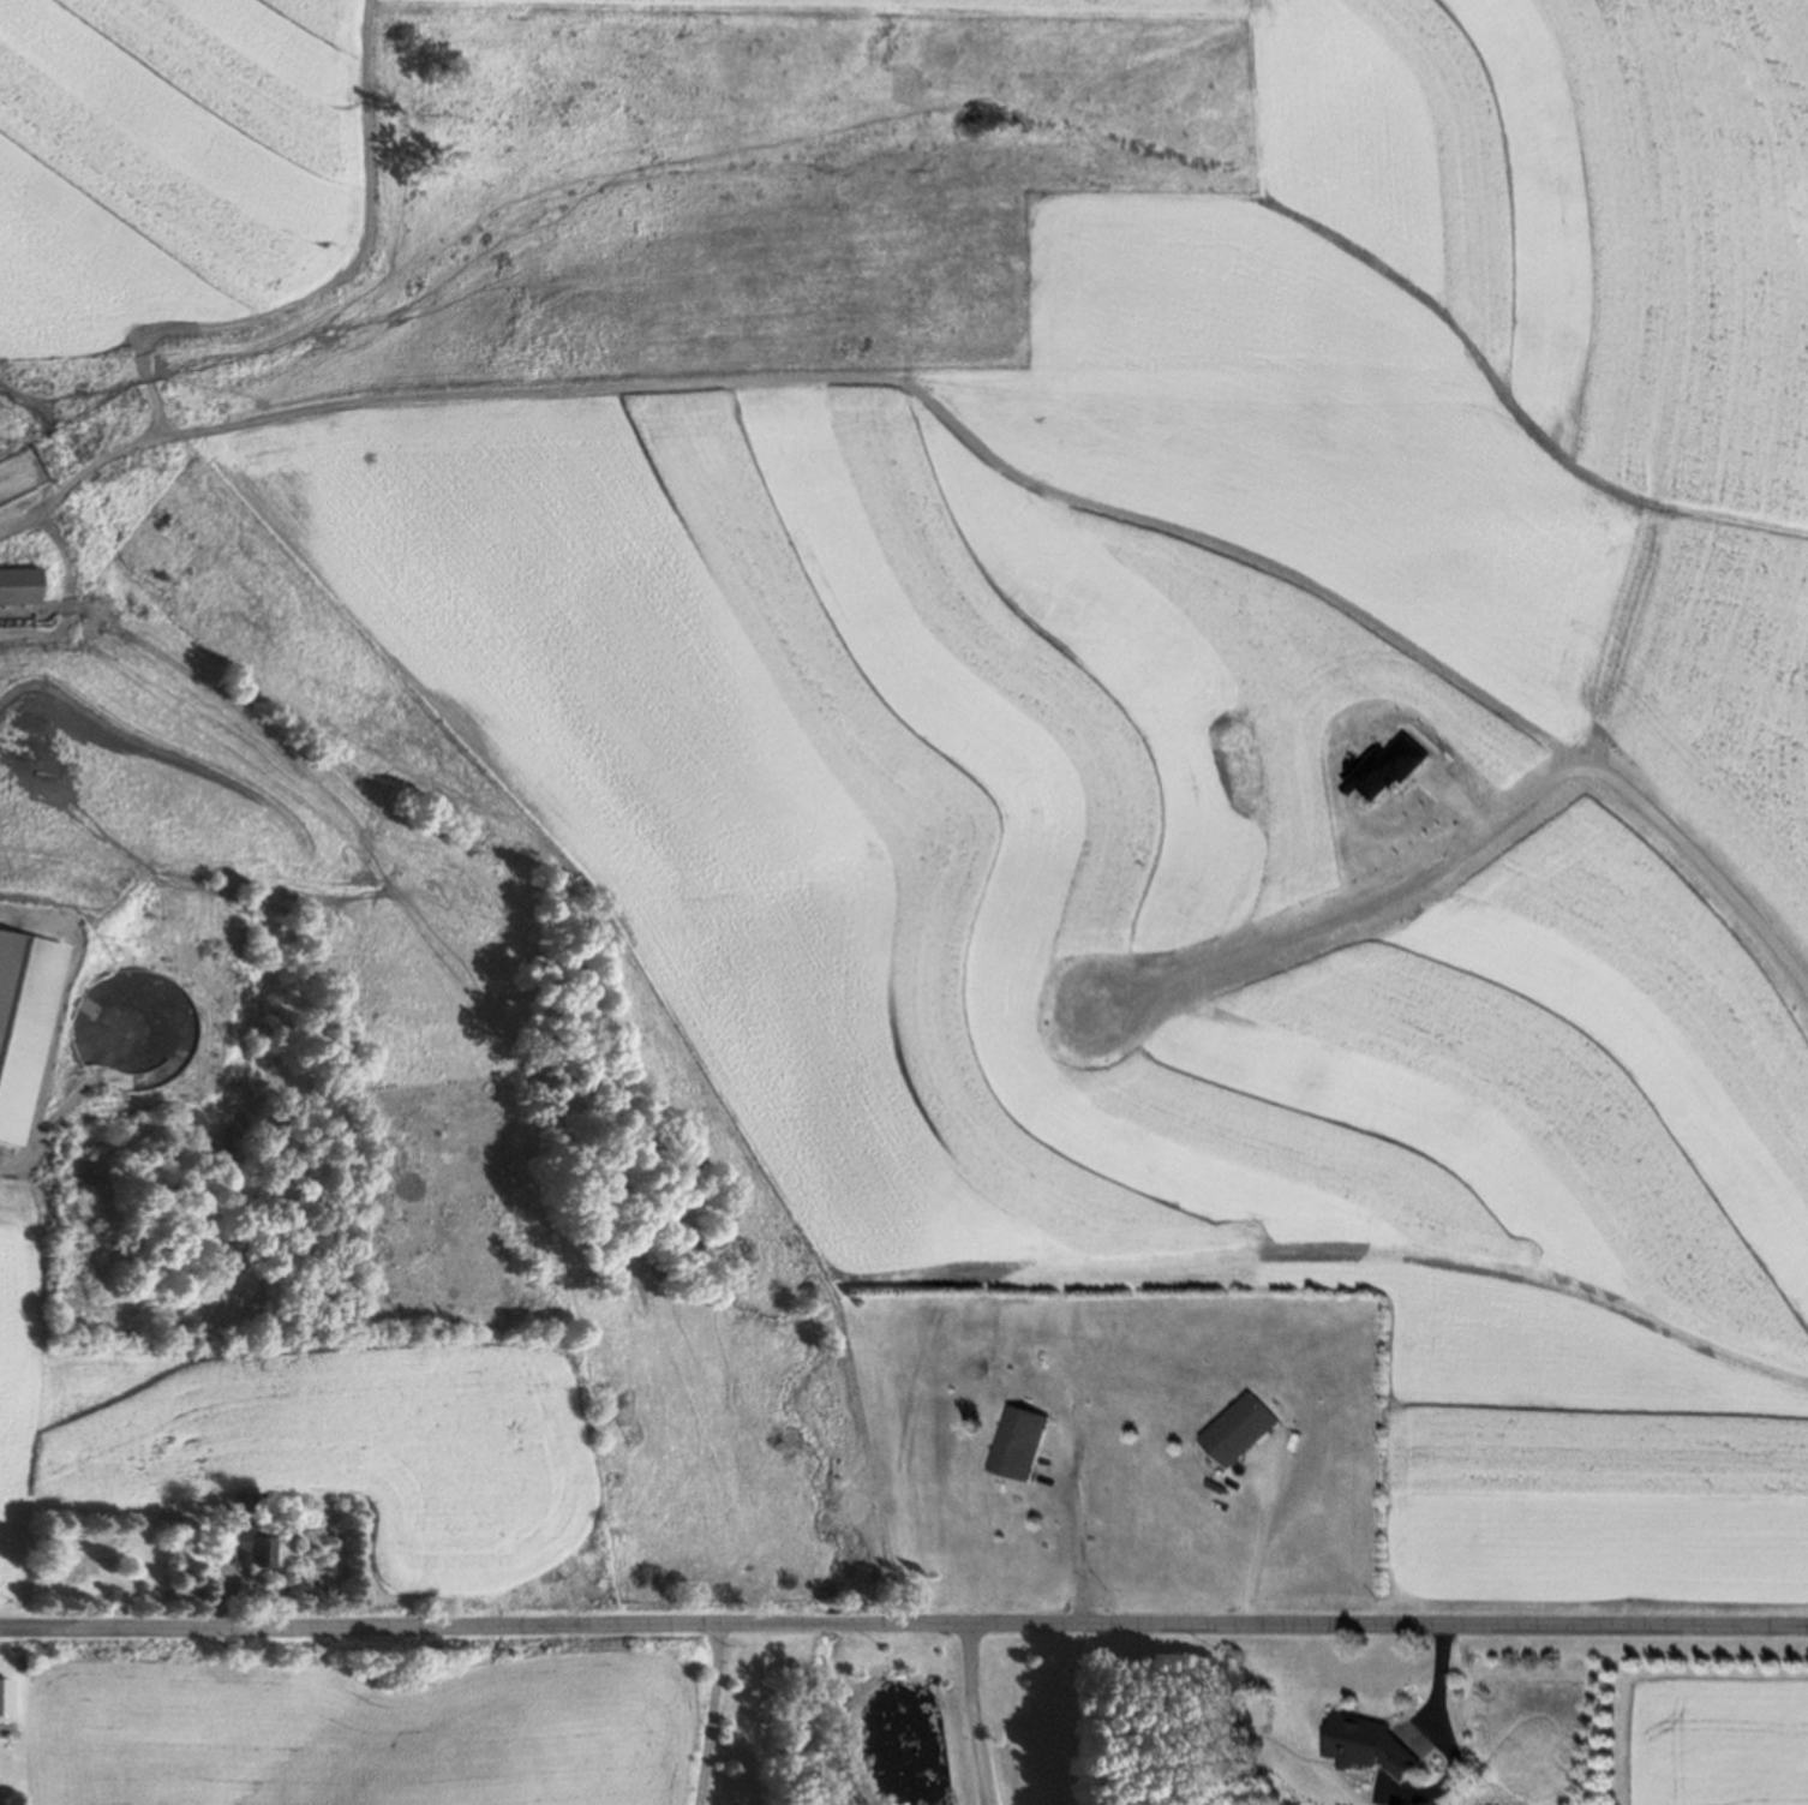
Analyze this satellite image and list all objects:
road: (331, 286)
road: (906, 376)
building: (20, 585)
road: (1498, 819)
building: (1247, 1430)
building: (1024, 1442)
building: (246, 1534)
road: (1256, 1541)
road: (1071, 1547)
road: (903, 1622)
road: (1669, 1680)
building: (5, 1695)
road: (711, 1714)
road: (974, 1714)
road: (1454, 1739)
building: (1378, 1744)

